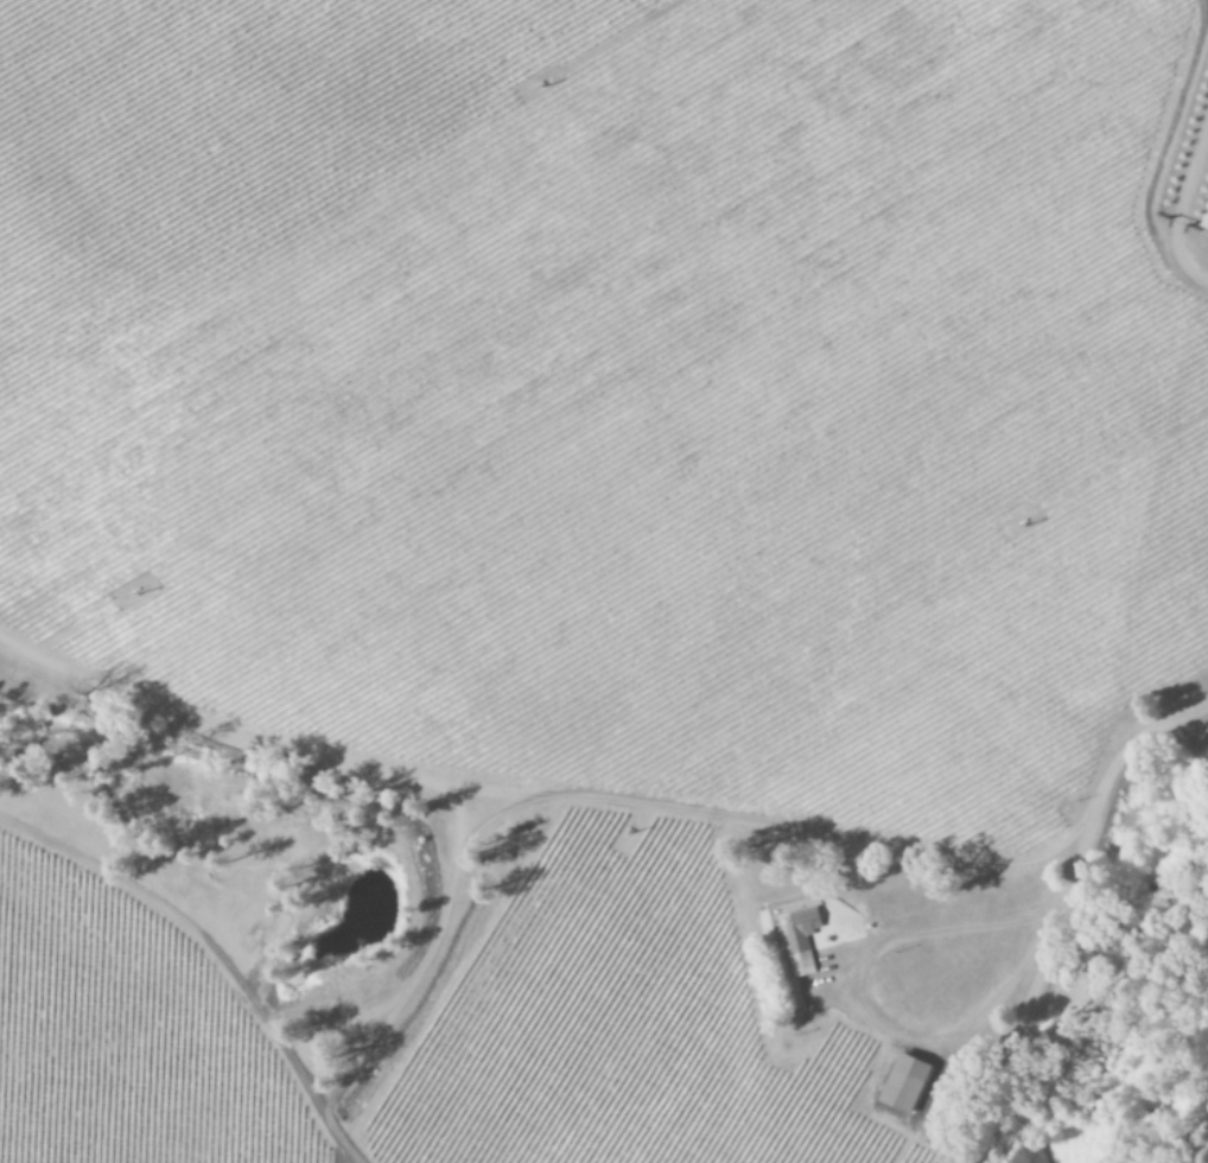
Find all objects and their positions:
road: (1132, 609)
building: (797, 941)
road: (854, 1019)
building: (901, 1086)

